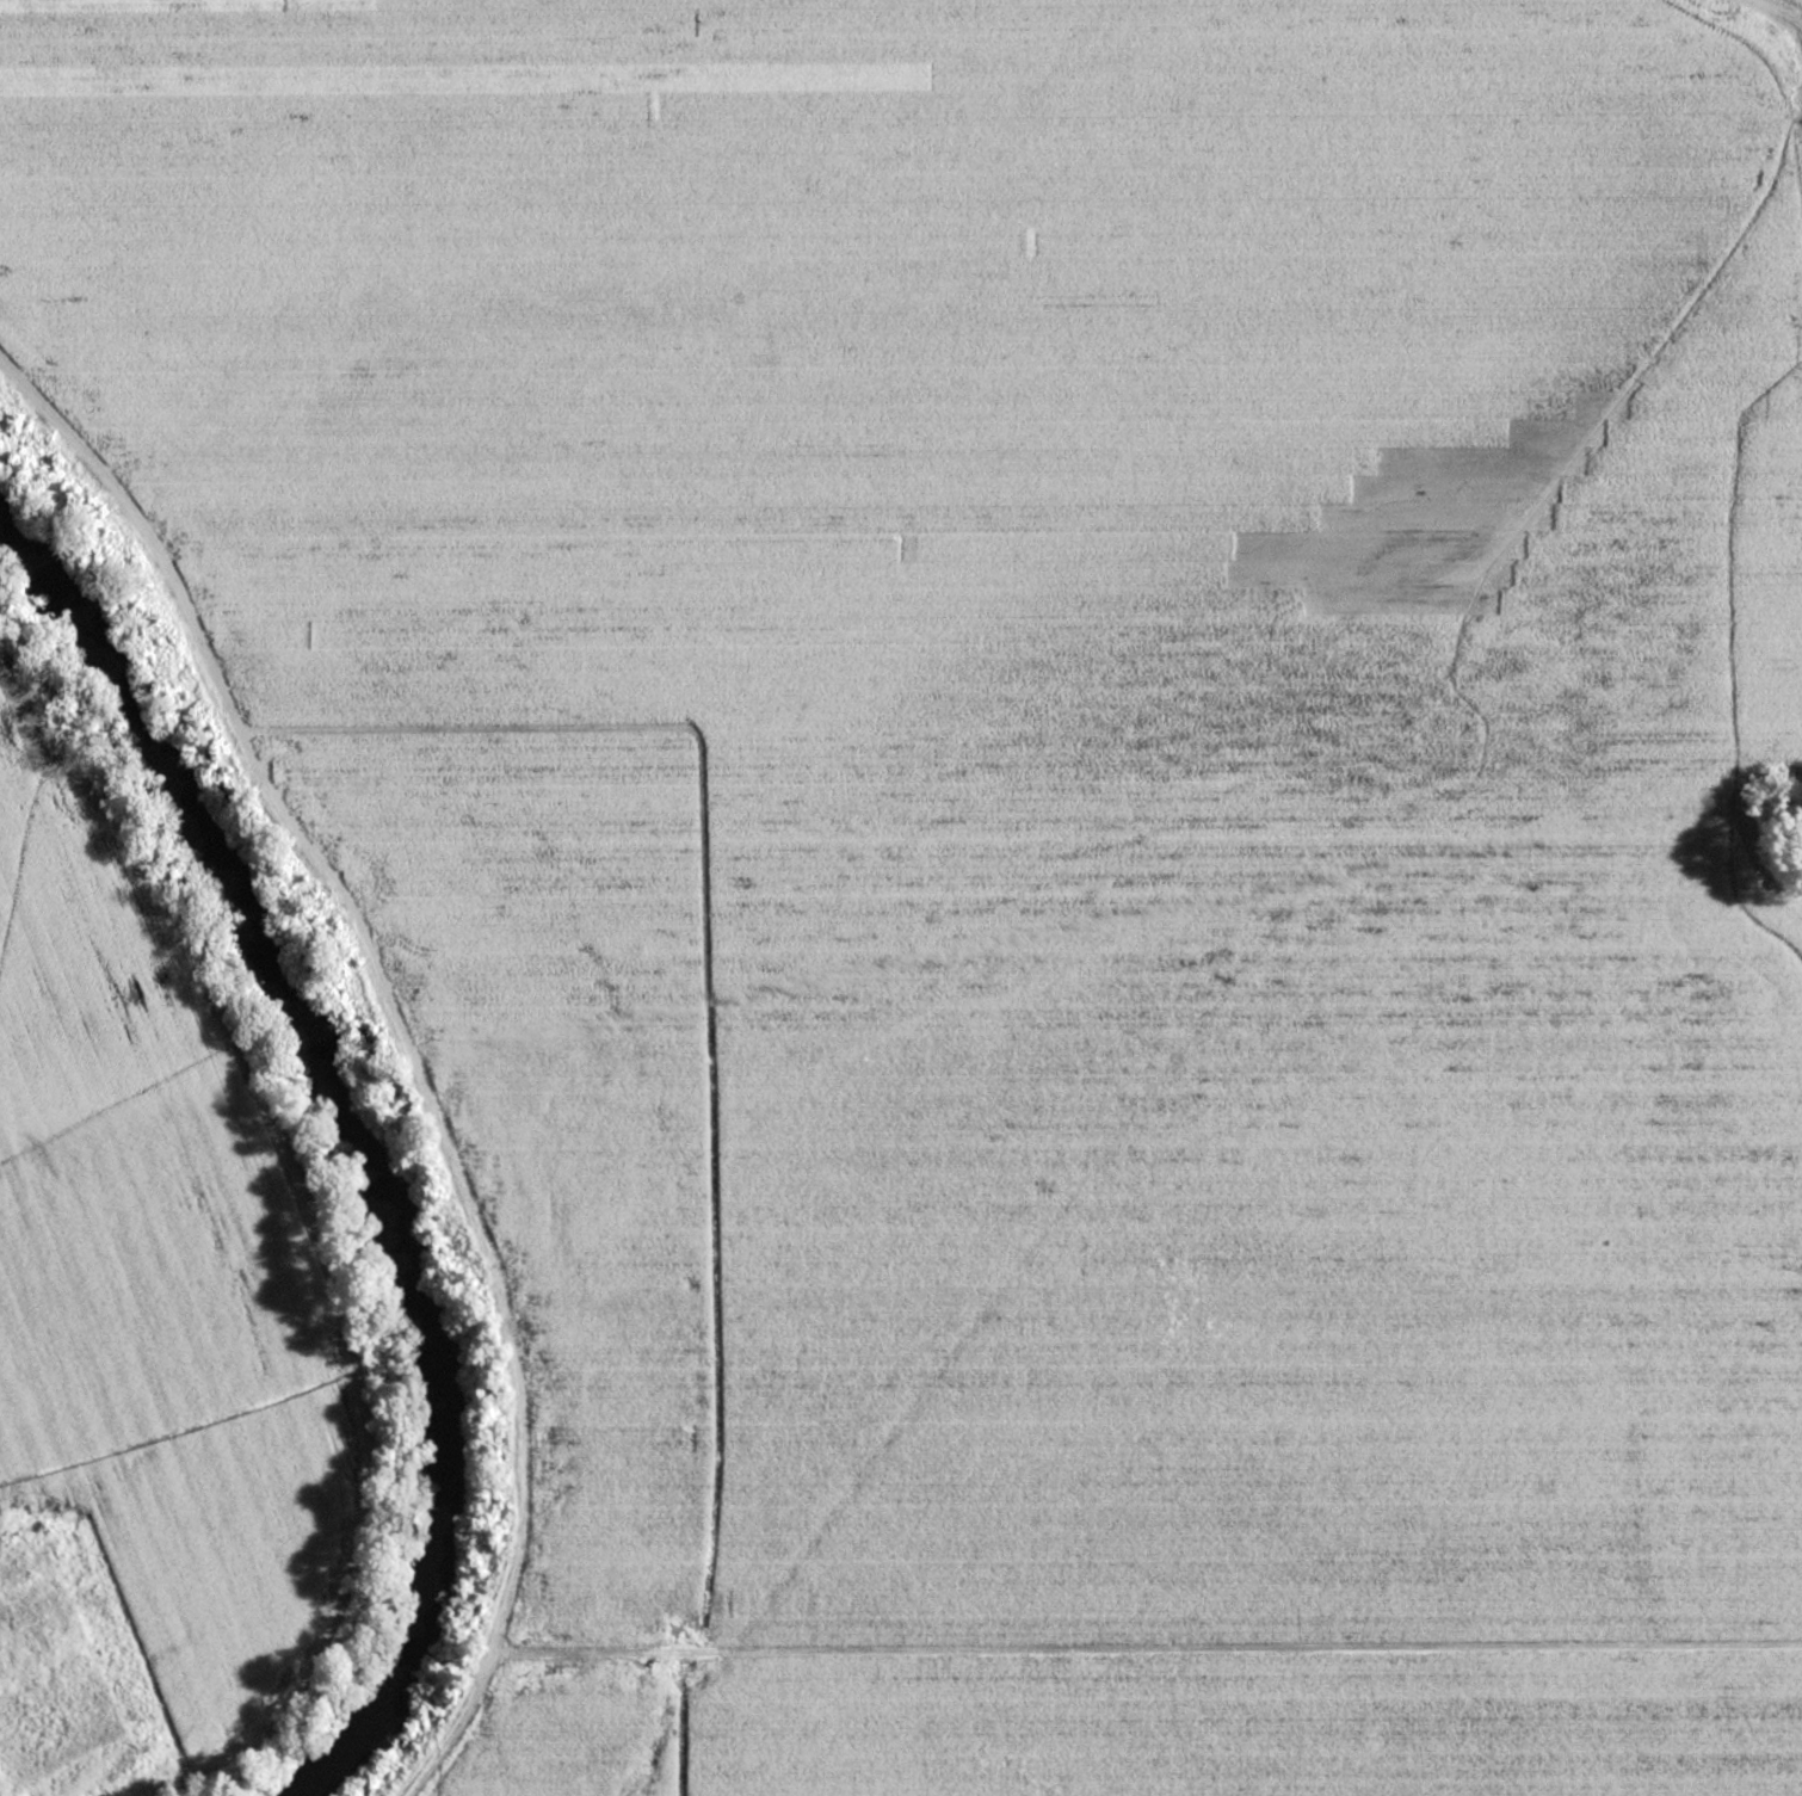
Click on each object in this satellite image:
road: (406, 1053)
river: (346, 1146)
road: (1147, 1649)

